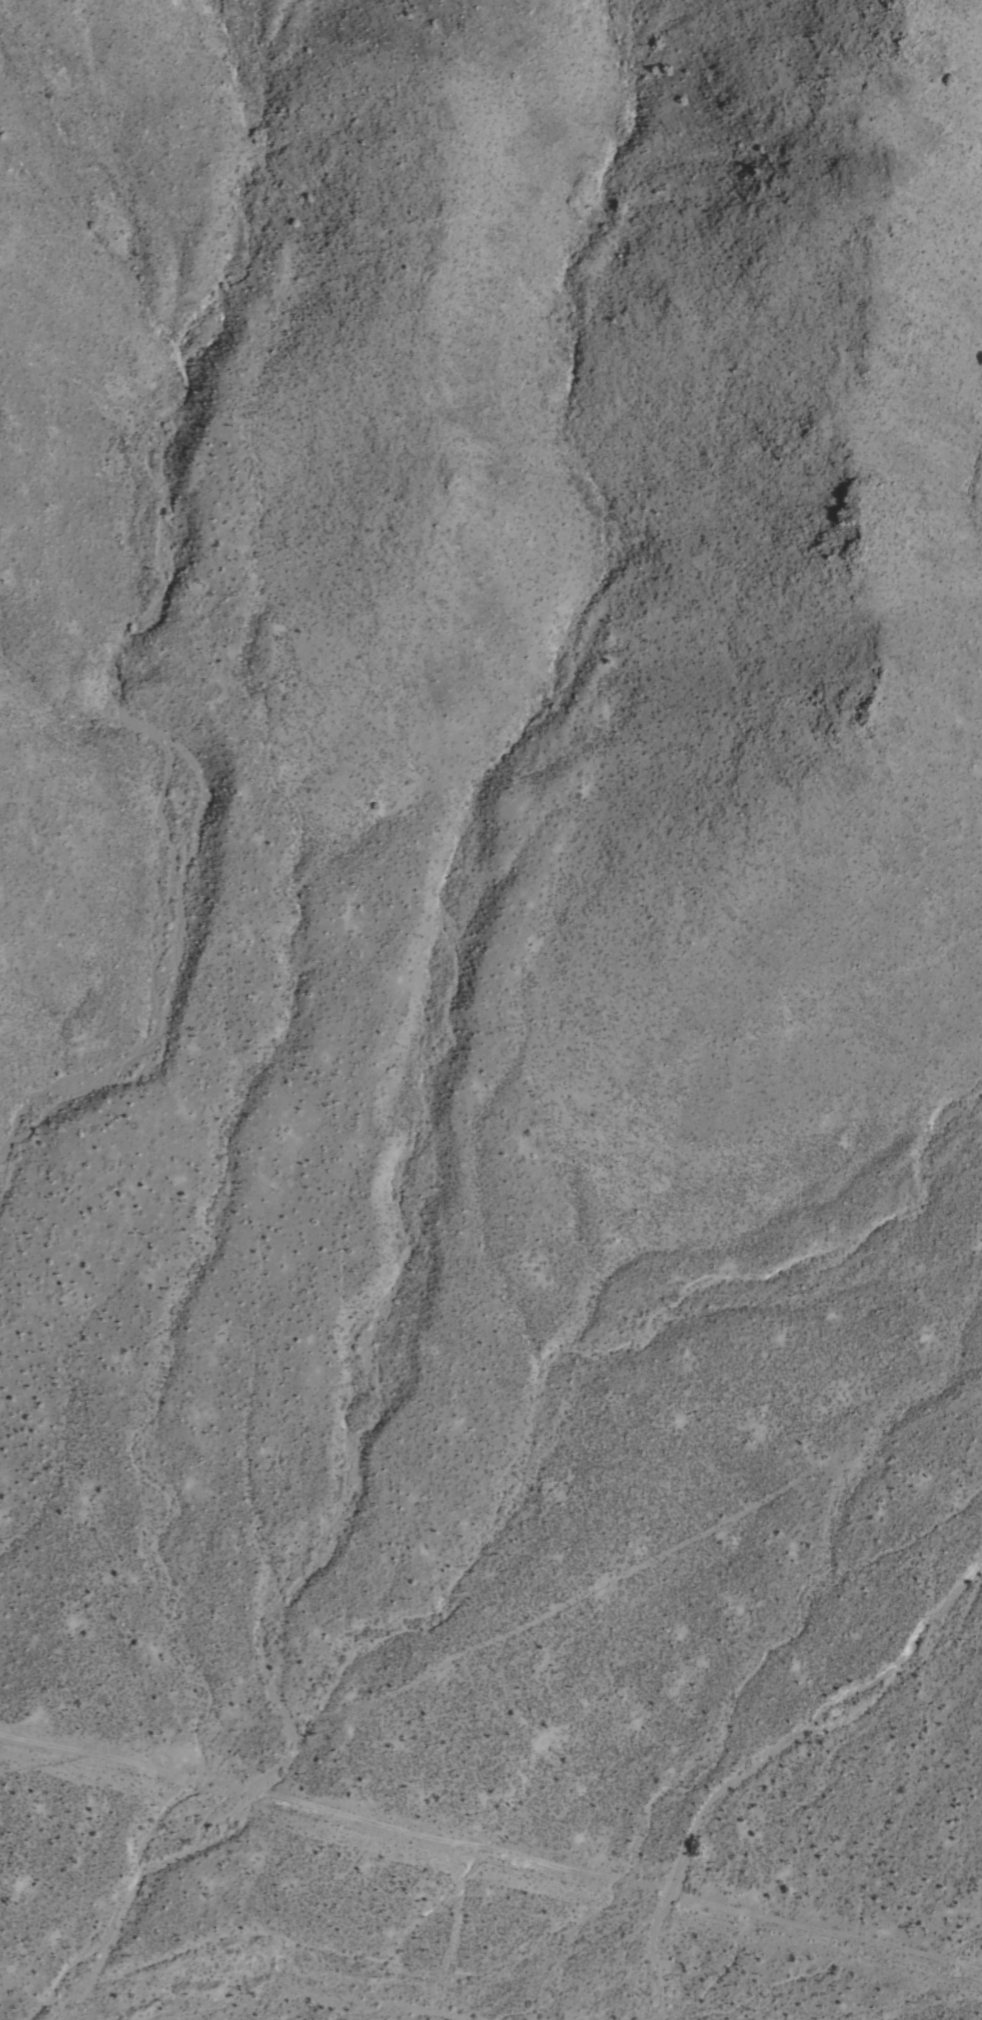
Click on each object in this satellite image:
road: (490, 1849)

